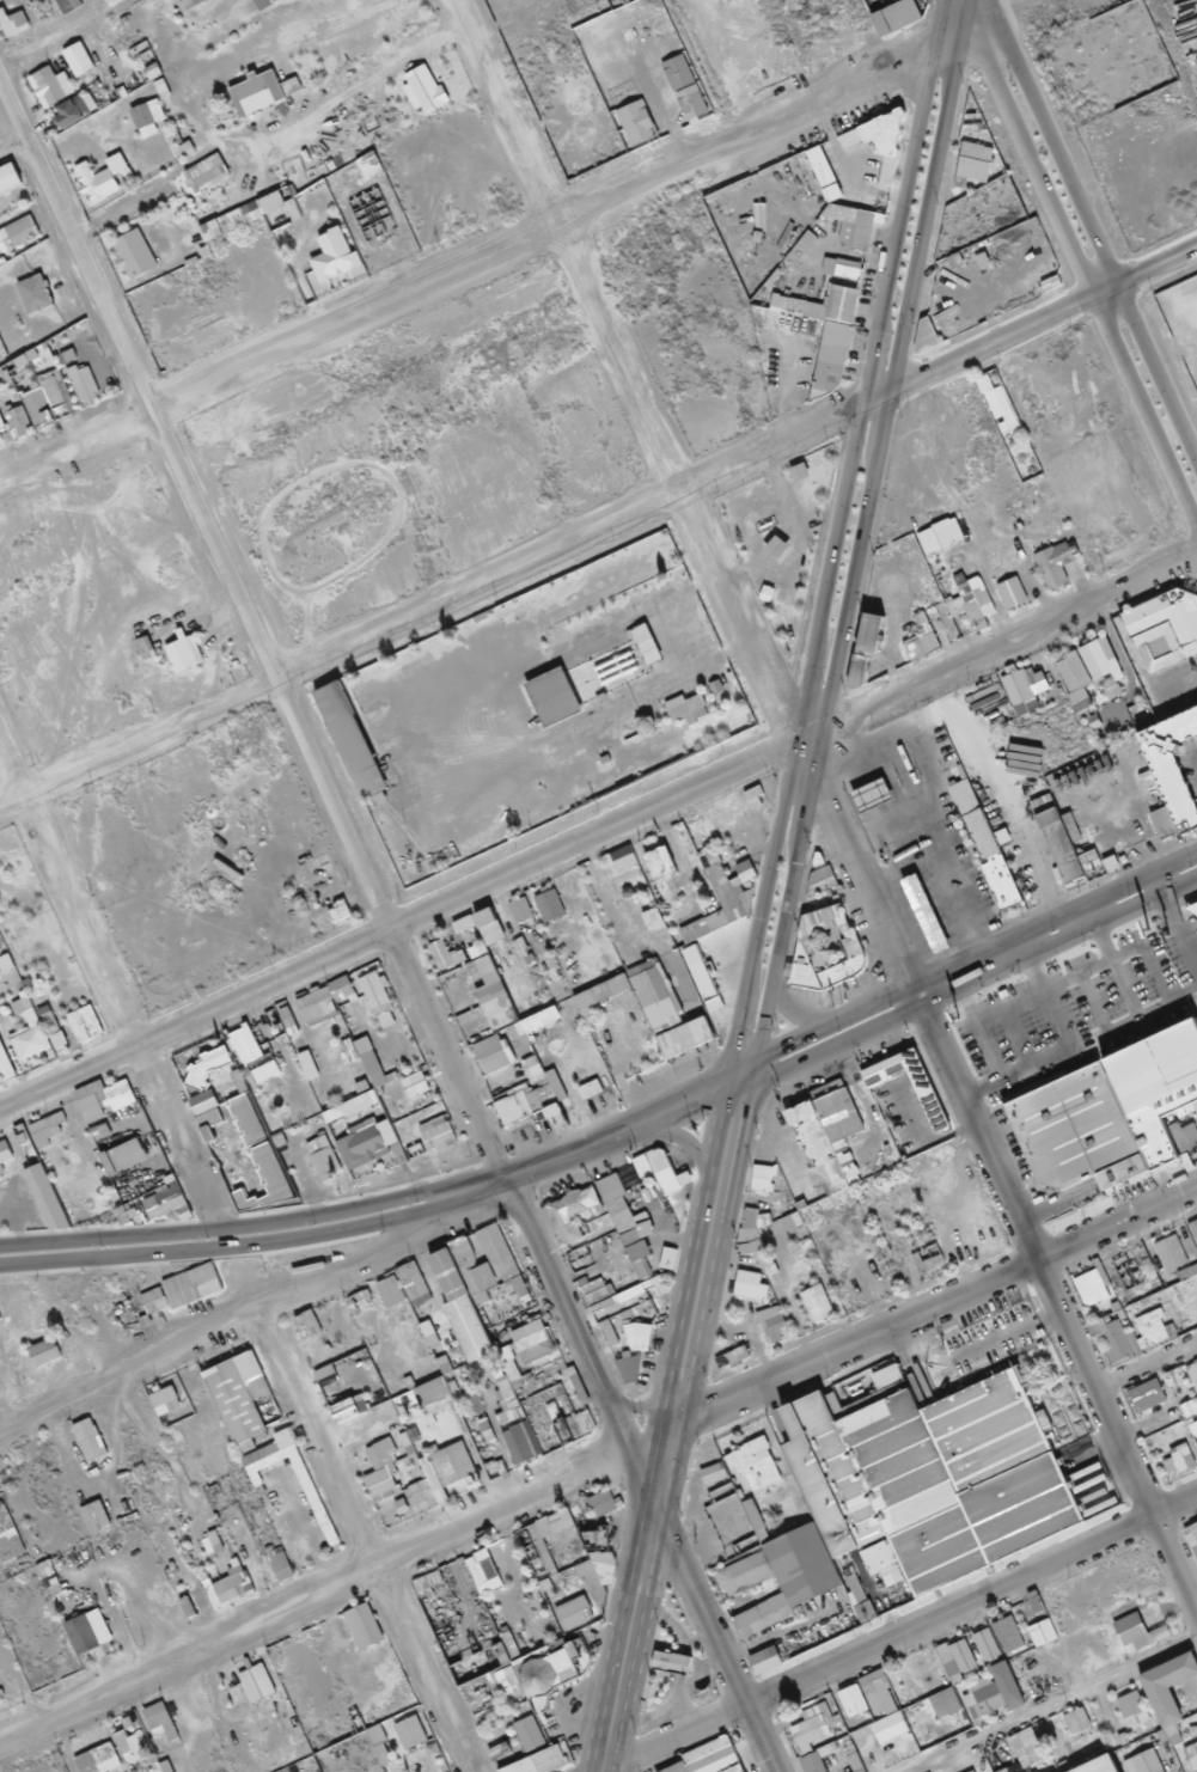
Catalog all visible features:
road: (1027, 323)
road: (859, 538)
road: (830, 543)
road: (995, 648)
road: (963, 958)
road: (964, 984)
traffic signals: (761, 1056)
traffic signals: (731, 1069)
traffic signals: (758, 1080)
traffic signals: (729, 1089)
road: (598, 1465)
road: (903, 1631)

